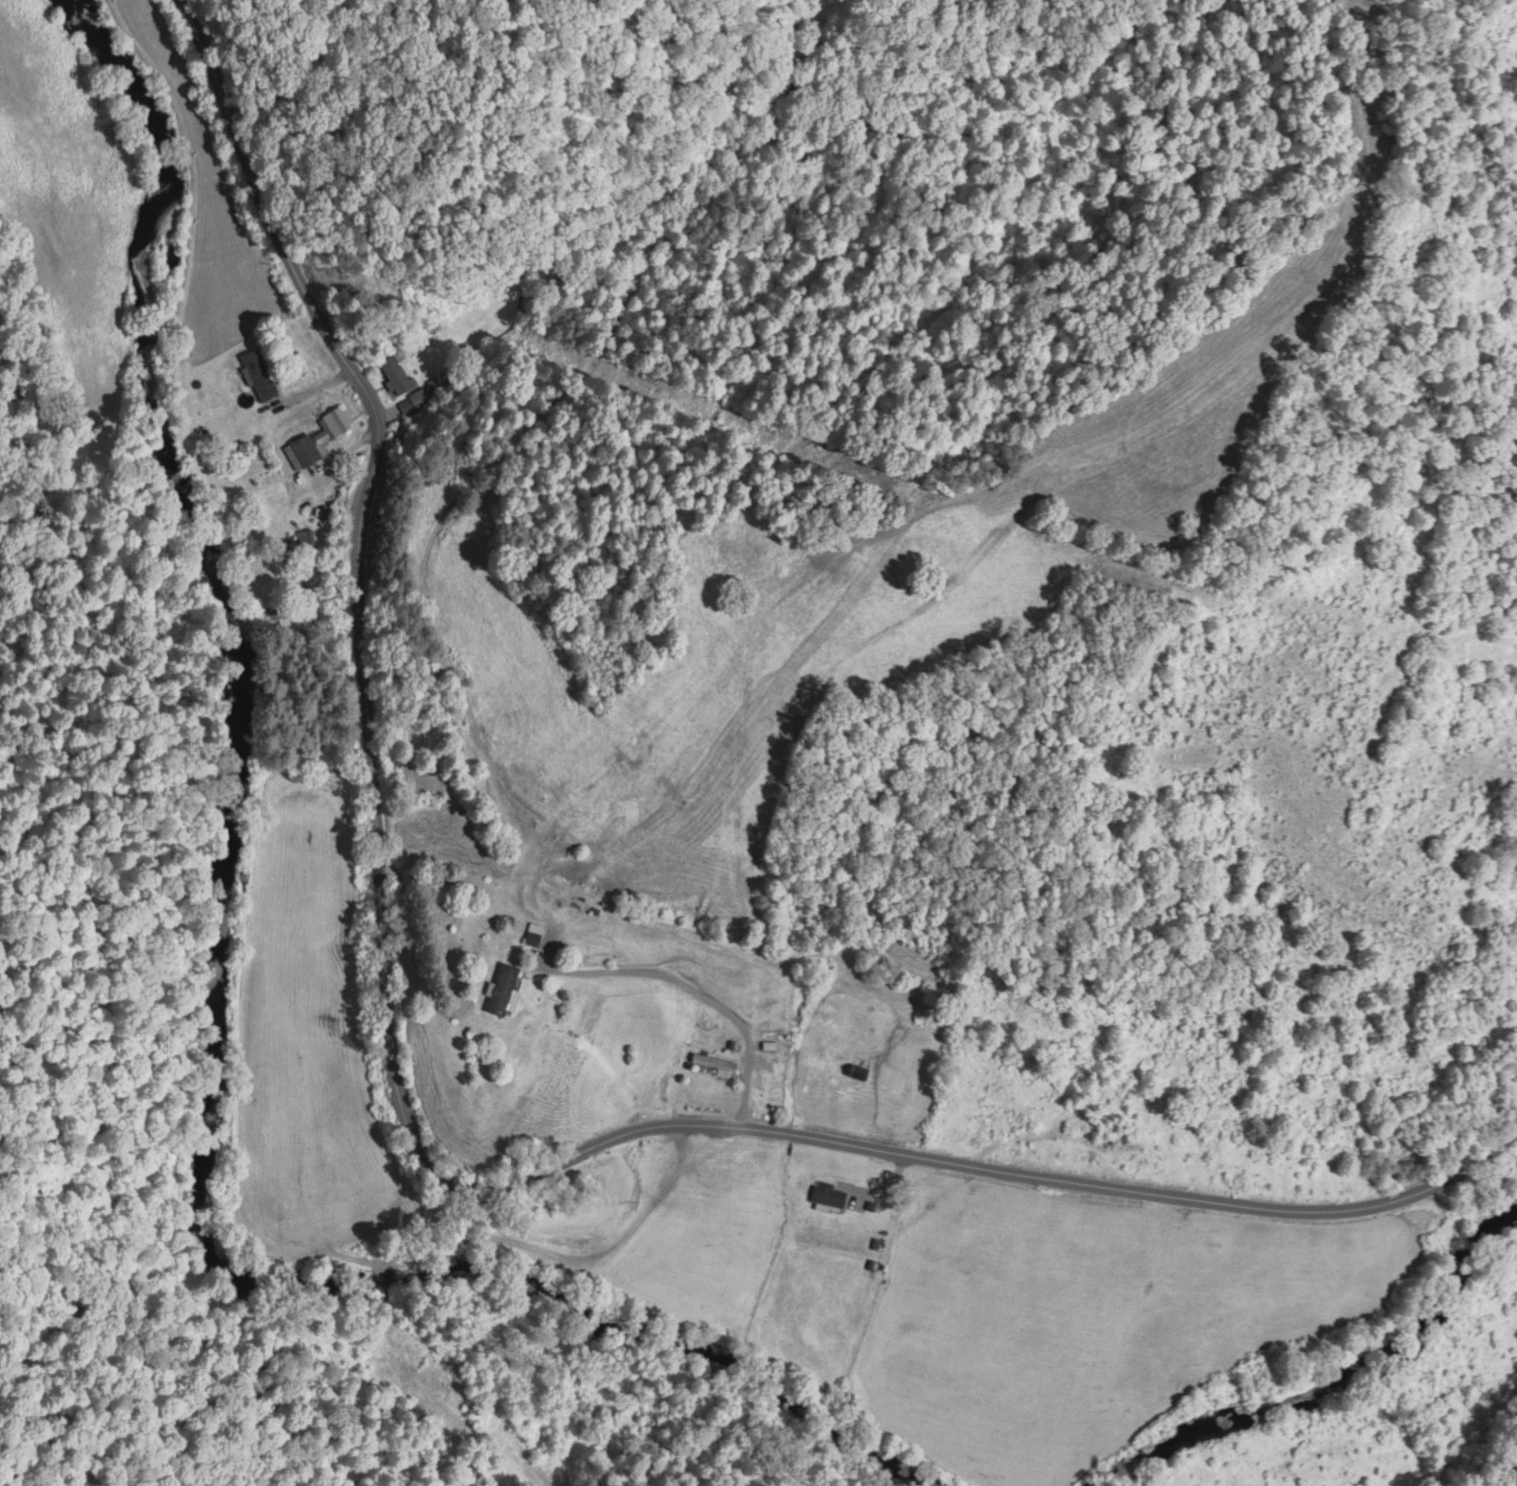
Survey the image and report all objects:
building: (394, 370)
building: (317, 436)
building: (304, 535)
road: (1113, 906)
building: (531, 937)
building: (501, 986)
road: (690, 992)
building: (713, 1060)
building: (858, 1068)
road: (407, 1125)
building: (826, 1194)

